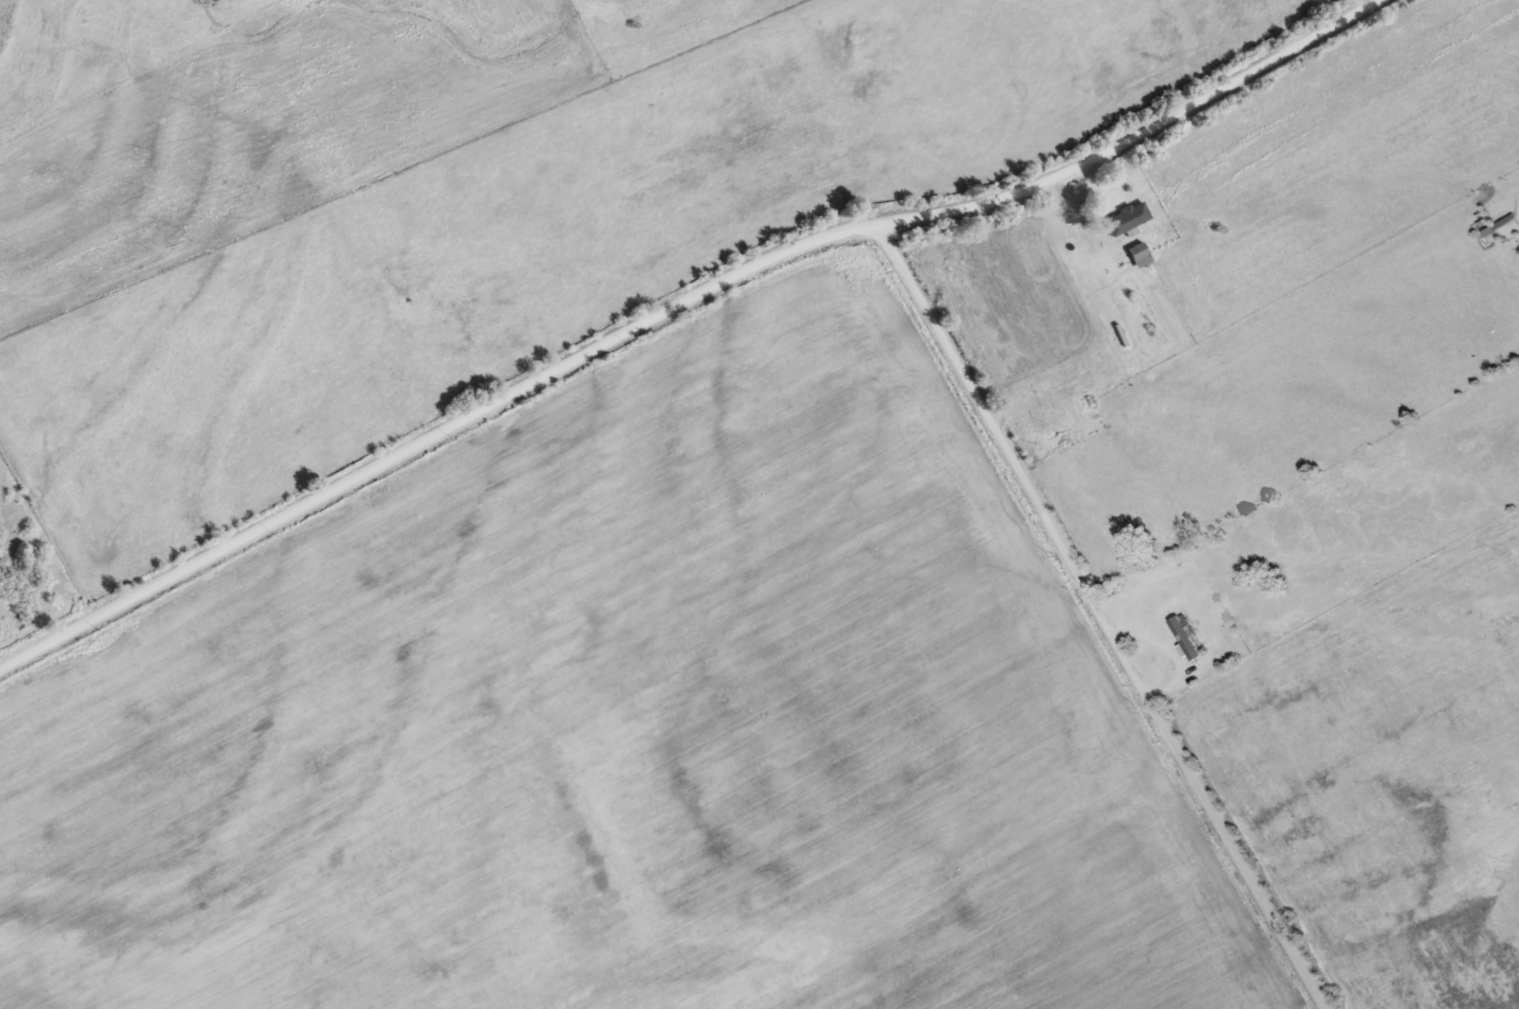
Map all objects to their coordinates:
building: (1121, 216)
building: (1480, 221)
building: (1134, 252)
road: (1094, 264)
road: (675, 304)
building: (1080, 400)
road: (1103, 613)
building: (1181, 636)

